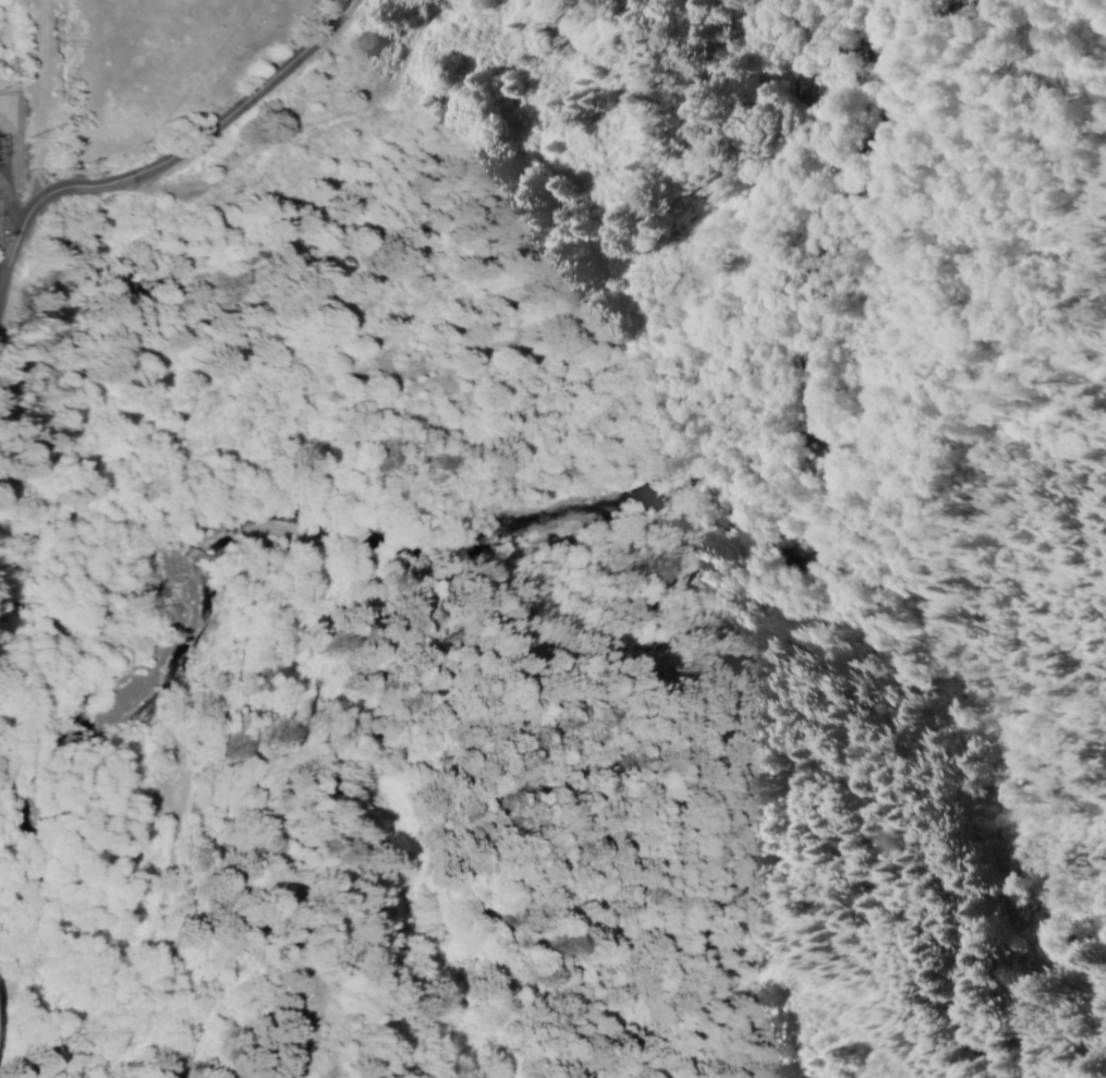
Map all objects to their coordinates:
road: (171, 156)
road: (5, 268)
road: (467, 383)

